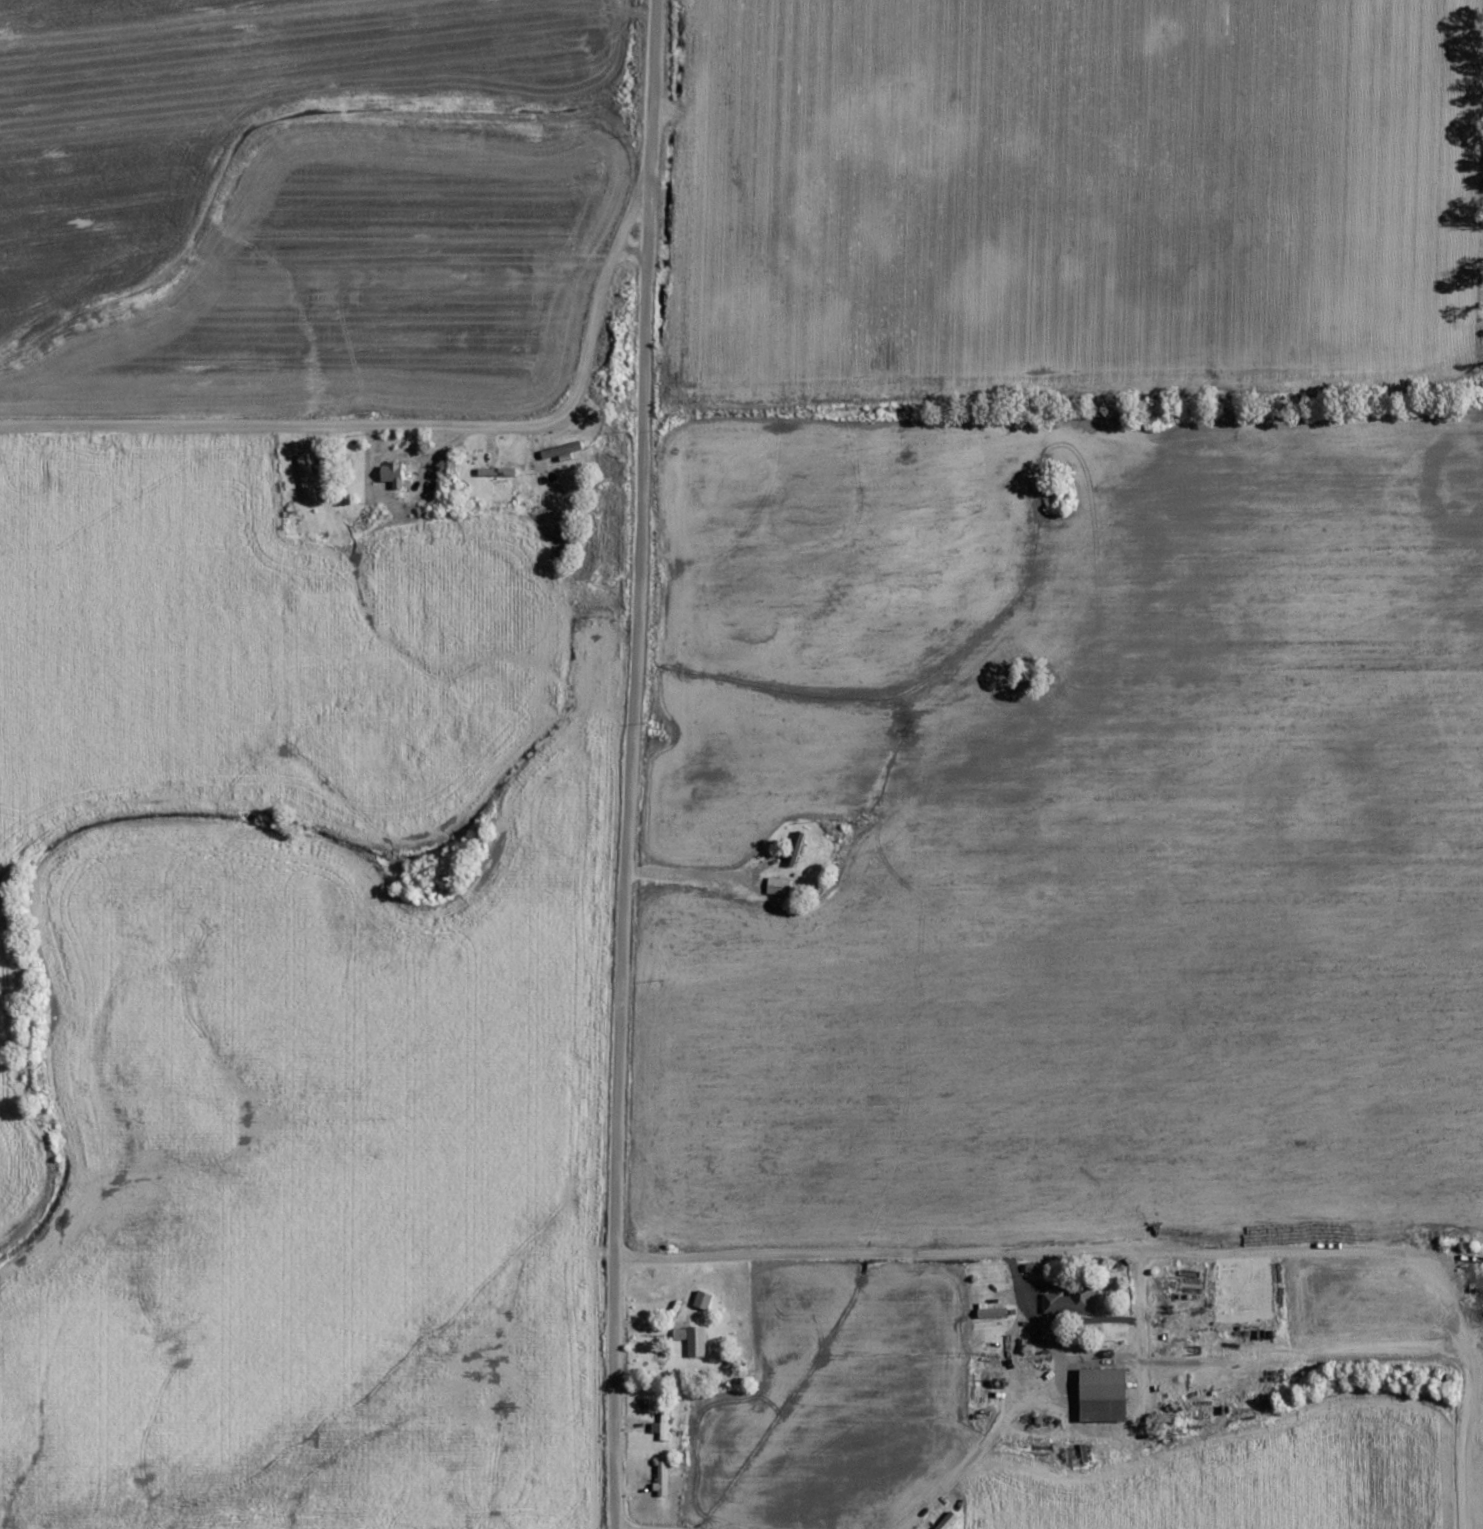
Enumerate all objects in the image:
road: (404, 425)
building: (393, 473)
building: (553, 475)
building: (500, 487)
road: (630, 764)
building: (795, 846)
road: (1050, 1263)
building: (1074, 1299)
building: (1002, 1311)
building: (1036, 1334)
building: (697, 1341)
building: (1106, 1393)
building: (663, 1415)
building: (664, 1477)
building: (949, 1521)

